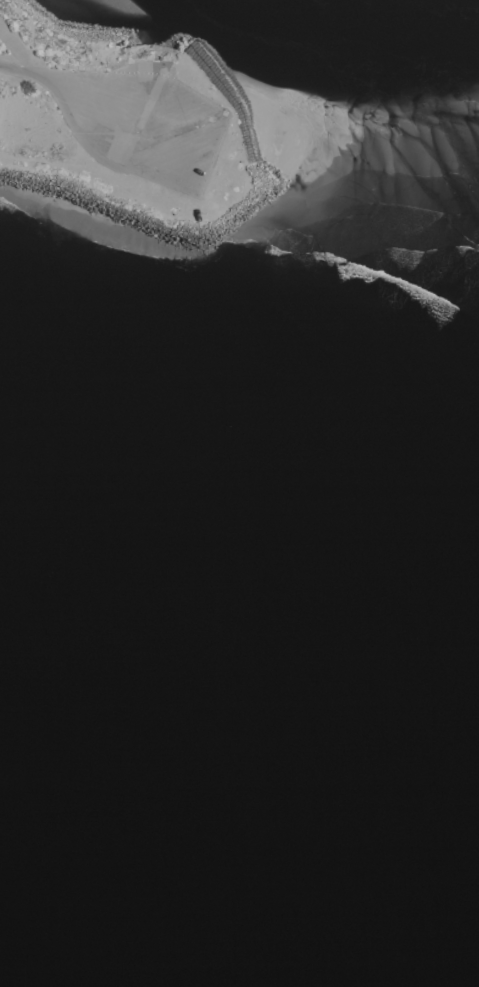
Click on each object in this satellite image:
road: (81, 85)
airport: (251, 212)

